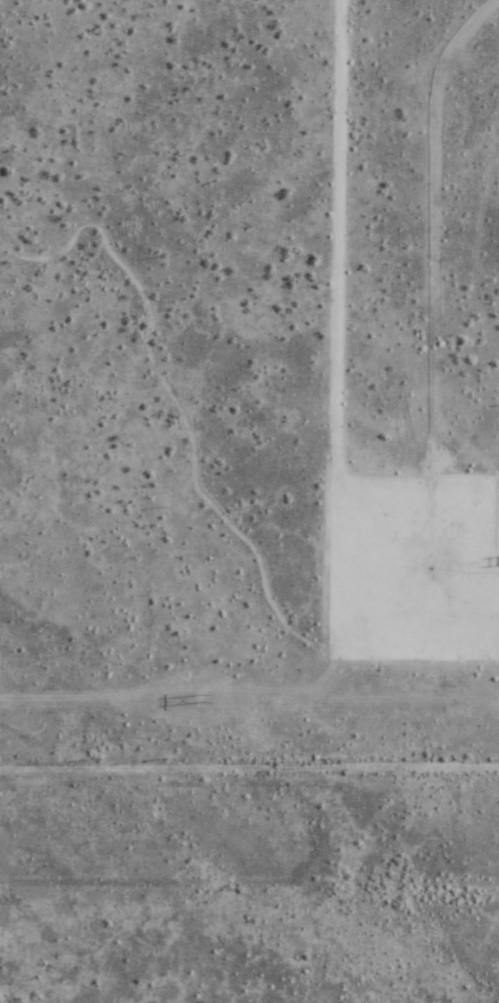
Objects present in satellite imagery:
power tower: (199, 699)

